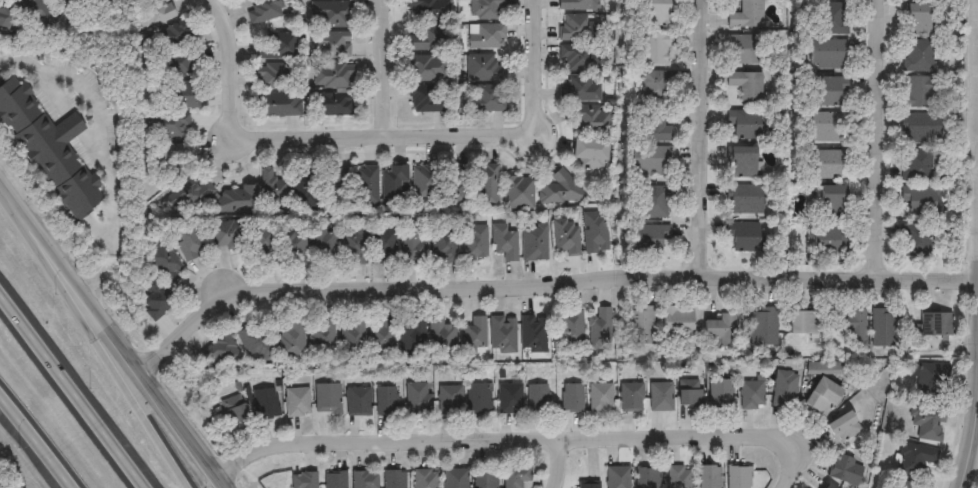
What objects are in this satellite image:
building: (577, 5)
building: (33, 9)
building: (429, 9)
building: (486, 9)
building: (261, 10)
building: (656, 13)
building: (330, 14)
building: (151, 15)
building: (746, 16)
building: (7, 17)
building: (832, 19)
building: (917, 19)
building: (579, 28)
building: (171, 37)
building: (486, 37)
building: (425, 40)
building: (331, 45)
building: (276, 47)
building: (655, 49)
building: (744, 50)
building: (827, 54)
building: (918, 56)
building: (579, 58)
building: (180, 63)
road: (385, 67)
building: (483, 68)
road: (536, 68)
building: (425, 69)
building: (274, 76)
building: (332, 77)
building: (746, 86)
building: (654, 87)
building: (580, 89)
building: (826, 91)
building: (920, 92)
building: (183, 95)
building: (432, 99)
building: (484, 100)
building: (277, 105)
building: (332, 105)
road: (97, 118)
building: (591, 121)
building: (743, 124)
building: (167, 126)
building: (655, 127)
building: (826, 127)
building: (920, 129)
road: (311, 134)
road: (880, 139)
road: (706, 141)
building: (49, 152)
building: (589, 154)
building: (167, 155)
building: (650, 159)
building: (740, 164)
building: (826, 164)
building: (916, 166)
building: (425, 183)
building: (474, 185)
building: (300, 186)
building: (365, 186)
building: (393, 186)
building: (335, 188)
building: (559, 188)
building: (271, 191)
building: (518, 193)
road: (5, 194)
building: (189, 195)
building: (235, 200)
building: (743, 200)
building: (918, 201)
building: (830, 202)
building: (653, 203)
building: (594, 233)
building: (743, 236)
building: (227, 237)
building: (565, 237)
building: (652, 239)
building: (825, 239)
building: (915, 241)
building: (187, 242)
building: (474, 243)
building: (503, 243)
building: (412, 244)
building: (533, 244)
building: (322, 245)
building: (352, 245)
building: (382, 247)
building: (262, 249)
building: (293, 249)
building: (442, 249)
building: (163, 262)
road: (542, 285)
building: (154, 299)
building: (678, 321)
building: (804, 322)
building: (852, 323)
building: (934, 323)
building: (640, 324)
building: (763, 326)
building: (884, 326)
building: (718, 329)
building: (570, 330)
building: (599, 330)
building: (532, 333)
building: (502, 334)
building: (321, 335)
building: (411, 335)
building: (472, 335)
building: (382, 336)
building: (440, 336)
building: (351, 337)
building: (290, 338)
building: (253, 341)
road: (117, 344)
road: (98, 345)
building: (220, 350)
building: (932, 379)
building: (785, 388)
road: (70, 391)
building: (690, 392)
building: (719, 393)
building: (752, 393)
building: (821, 395)
building: (660, 396)
building: (417, 397)
building: (572, 397)
building: (600, 397)
building: (631, 397)
building: (327, 398)
building: (479, 398)
building: (509, 398)
building: (537, 398)
building: (358, 400)
building: (386, 400)
building: (449, 400)
building: (297, 401)
building: (265, 402)
building: (232, 410)
building: (926, 420)
building: (842, 426)
road: (499, 439)
road: (36, 440)
building: (913, 458)
road: (971, 461)
road: (554, 463)
road: (790, 470)
building: (844, 470)
building: (709, 476)
building: (516, 477)
building: (618, 477)
building: (679, 477)
building: (738, 477)
building: (426, 478)
building: (456, 478)
building: (485, 478)
building: (647, 478)
building: (335, 479)
building: (364, 479)
building: (394, 479)
building: (304, 480)
building: (904, 484)
building: (587, 485)
building: (825, 486)

